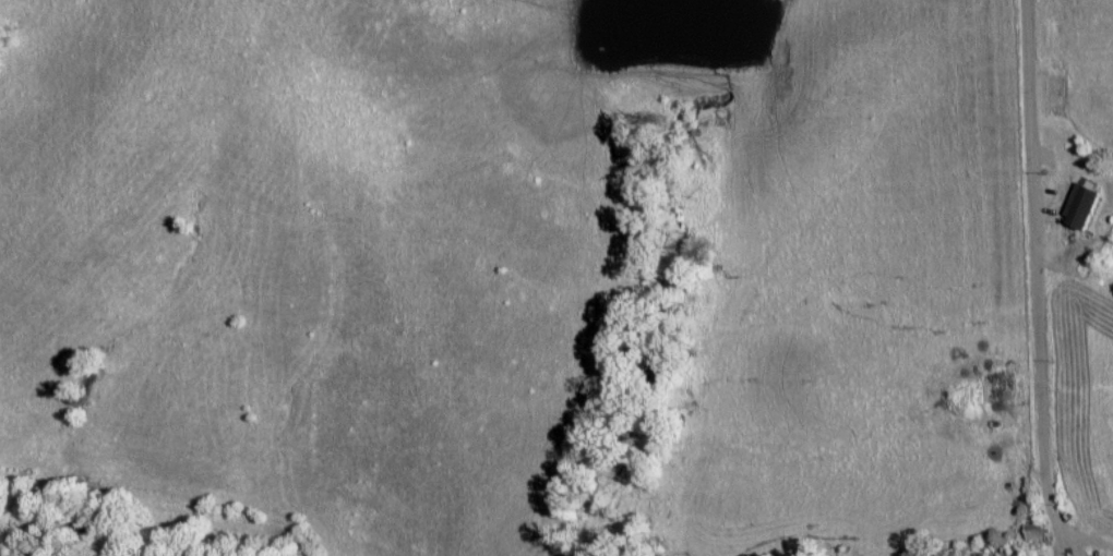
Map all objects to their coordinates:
building: (1080, 207)
building: (1033, 532)

